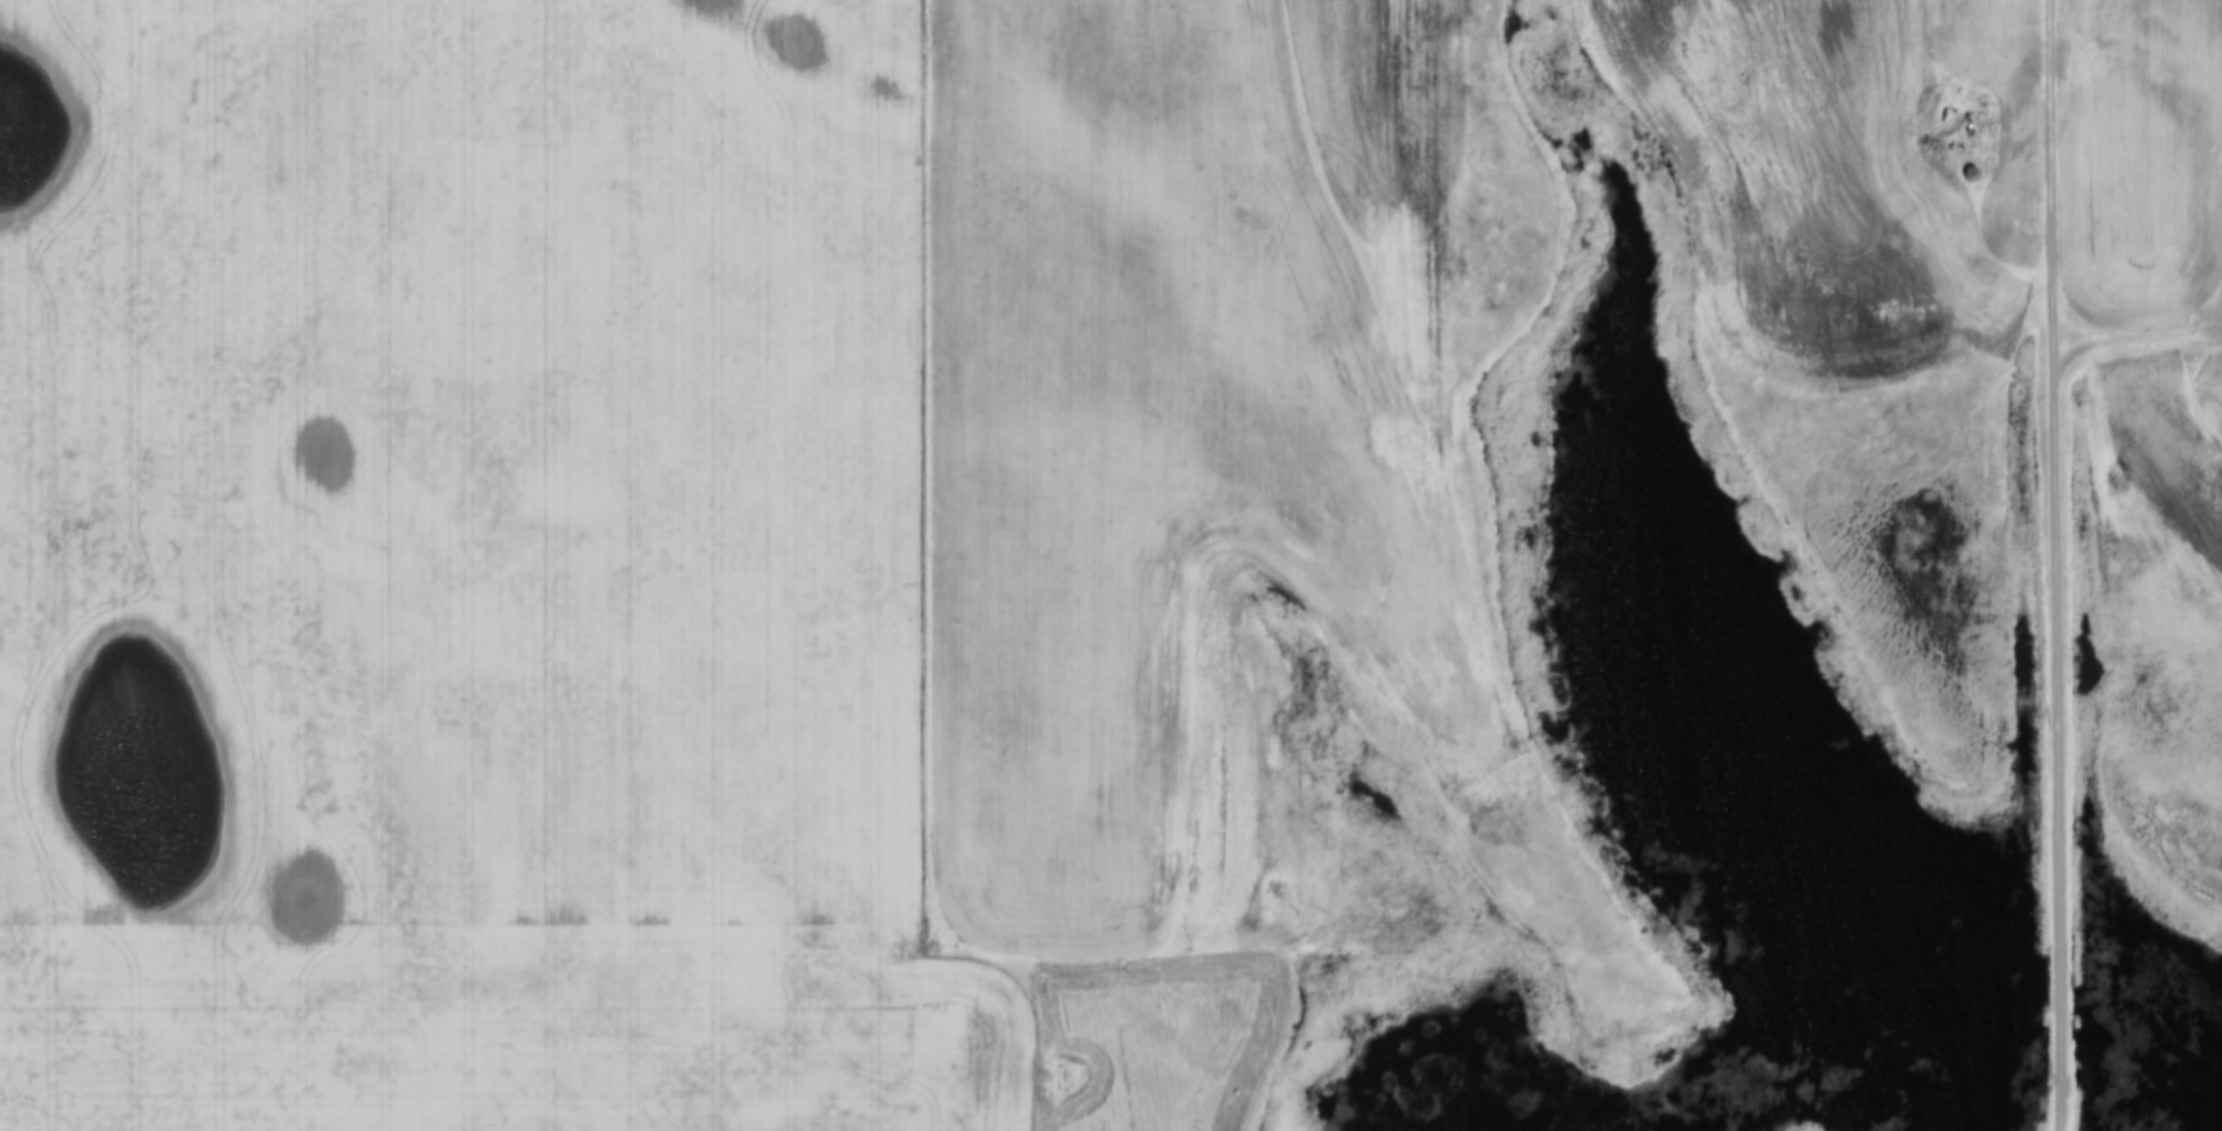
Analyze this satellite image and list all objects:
road: (2127, 336)
road: (2052, 565)

